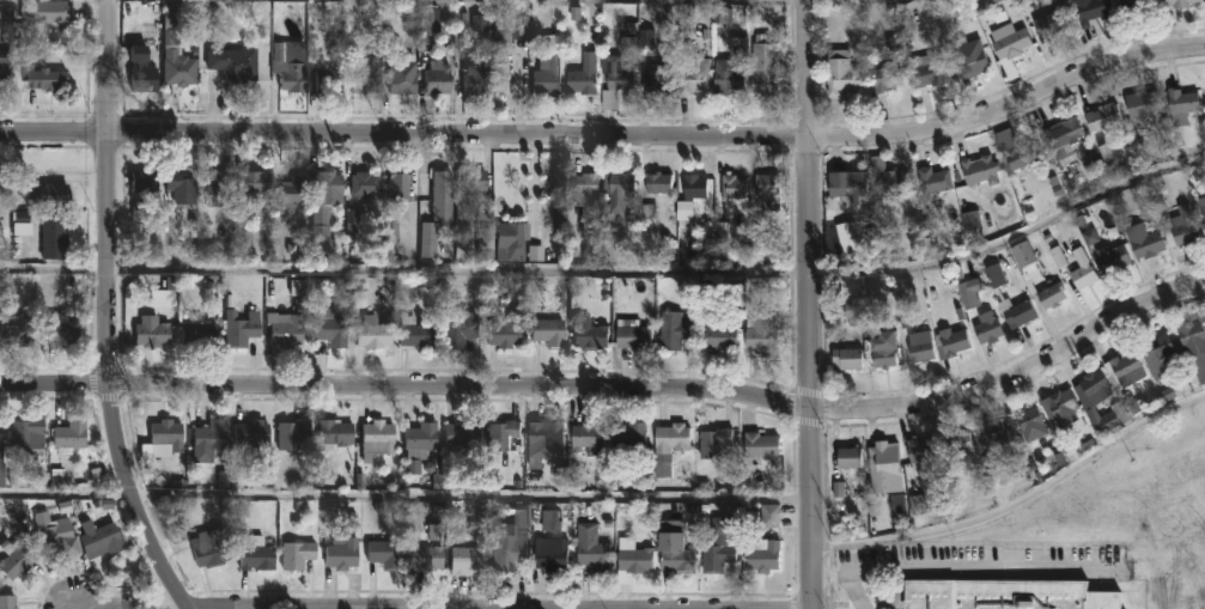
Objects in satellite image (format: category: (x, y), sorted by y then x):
road: (835, 1)
building: (1180, 2)
building: (1128, 6)
building: (1090, 11)
building: (50, 12)
building: (426, 24)
building: (1049, 24)
building: (505, 26)
building: (1008, 41)
building: (969, 57)
building: (235, 63)
building: (5, 65)
building: (286, 65)
building: (763, 66)
building: (182, 67)
building: (930, 68)
building: (145, 71)
building: (840, 73)
building: (583, 74)
building: (471, 75)
building: (692, 75)
building: (546, 77)
building: (615, 78)
building: (57, 79)
building: (360, 79)
building: (434, 79)
building: (656, 79)
building: (726, 79)
building: (886, 79)
building: (321, 80)
building: (401, 81)
building: (1142, 101)
building: (1181, 105)
building: (1101, 116)
road: (609, 135)
building: (1064, 138)
building: (1020, 154)
building: (979, 169)
building: (470, 179)
building: (933, 179)
building: (146, 181)
building: (258, 181)
building: (395, 181)
building: (656, 181)
building: (889, 181)
building: (361, 182)
building: (847, 182)
building: (692, 184)
building: (731, 184)
building: (584, 185)
building: (221, 187)
building: (183, 188)
building: (619, 190)
building: (765, 190)
building: (53, 193)
building: (291, 193)
building: (323, 208)
building: (1203, 211)
building: (433, 212)
building: (1183, 224)
building: (55, 238)
building: (509, 239)
building: (1144, 240)
building: (1021, 251)
building: (1112, 257)
building: (1078, 266)
road: (611, 270)
building: (997, 276)
building: (969, 291)
building: (1051, 294)
road: (807, 304)
building: (1016, 310)
road: (110, 311)
building: (987, 327)
building: (18, 328)
building: (242, 328)
building: (287, 328)
building: (327, 328)
building: (65, 329)
building: (674, 329)
building: (455, 330)
building: (154, 331)
building: (370, 331)
building: (546, 331)
building: (588, 331)
building: (410, 333)
building: (503, 333)
building: (720, 333)
building: (761, 333)
building: (199, 334)
building: (632, 336)
building: (1192, 339)
building: (950, 340)
building: (919, 345)
building: (883, 354)
building: (1157, 354)
building: (845, 357)
building: (1124, 369)
road: (617, 385)
building: (1091, 388)
building: (1059, 406)
building: (1109, 419)
building: (1029, 422)
building: (255, 432)
building: (293, 433)
building: (330, 433)
building: (458, 433)
building: (991, 433)
building: (501, 434)
building: (628, 434)
building: (30, 436)
building: (72, 436)
building: (375, 436)
building: (584, 436)
building: (168, 437)
building: (670, 437)
building: (416, 438)
building: (211, 439)
building: (542, 440)
building: (712, 440)
building: (956, 443)
building: (760, 444)
building: (920, 449)
building: (2, 456)
building: (847, 456)
building: (883, 467)
road: (402, 495)
road: (1017, 505)
park: (1128, 511)
building: (772, 518)
building: (54, 532)
building: (102, 538)
building: (212, 547)
building: (590, 547)
building: (505, 549)
building: (339, 553)
building: (670, 553)
building: (716, 553)
building: (761, 553)
building: (298, 554)
building: (381, 554)
building: (261, 558)
building: (422, 558)
building: (547, 558)
building: (634, 558)
building: (18, 559)
building: (463, 559)
road: (976, 564)
road: (821, 572)
road: (853, 590)
building: (1003, 593)
building: (8, 602)
road: (199, 607)
road: (745, 608)

